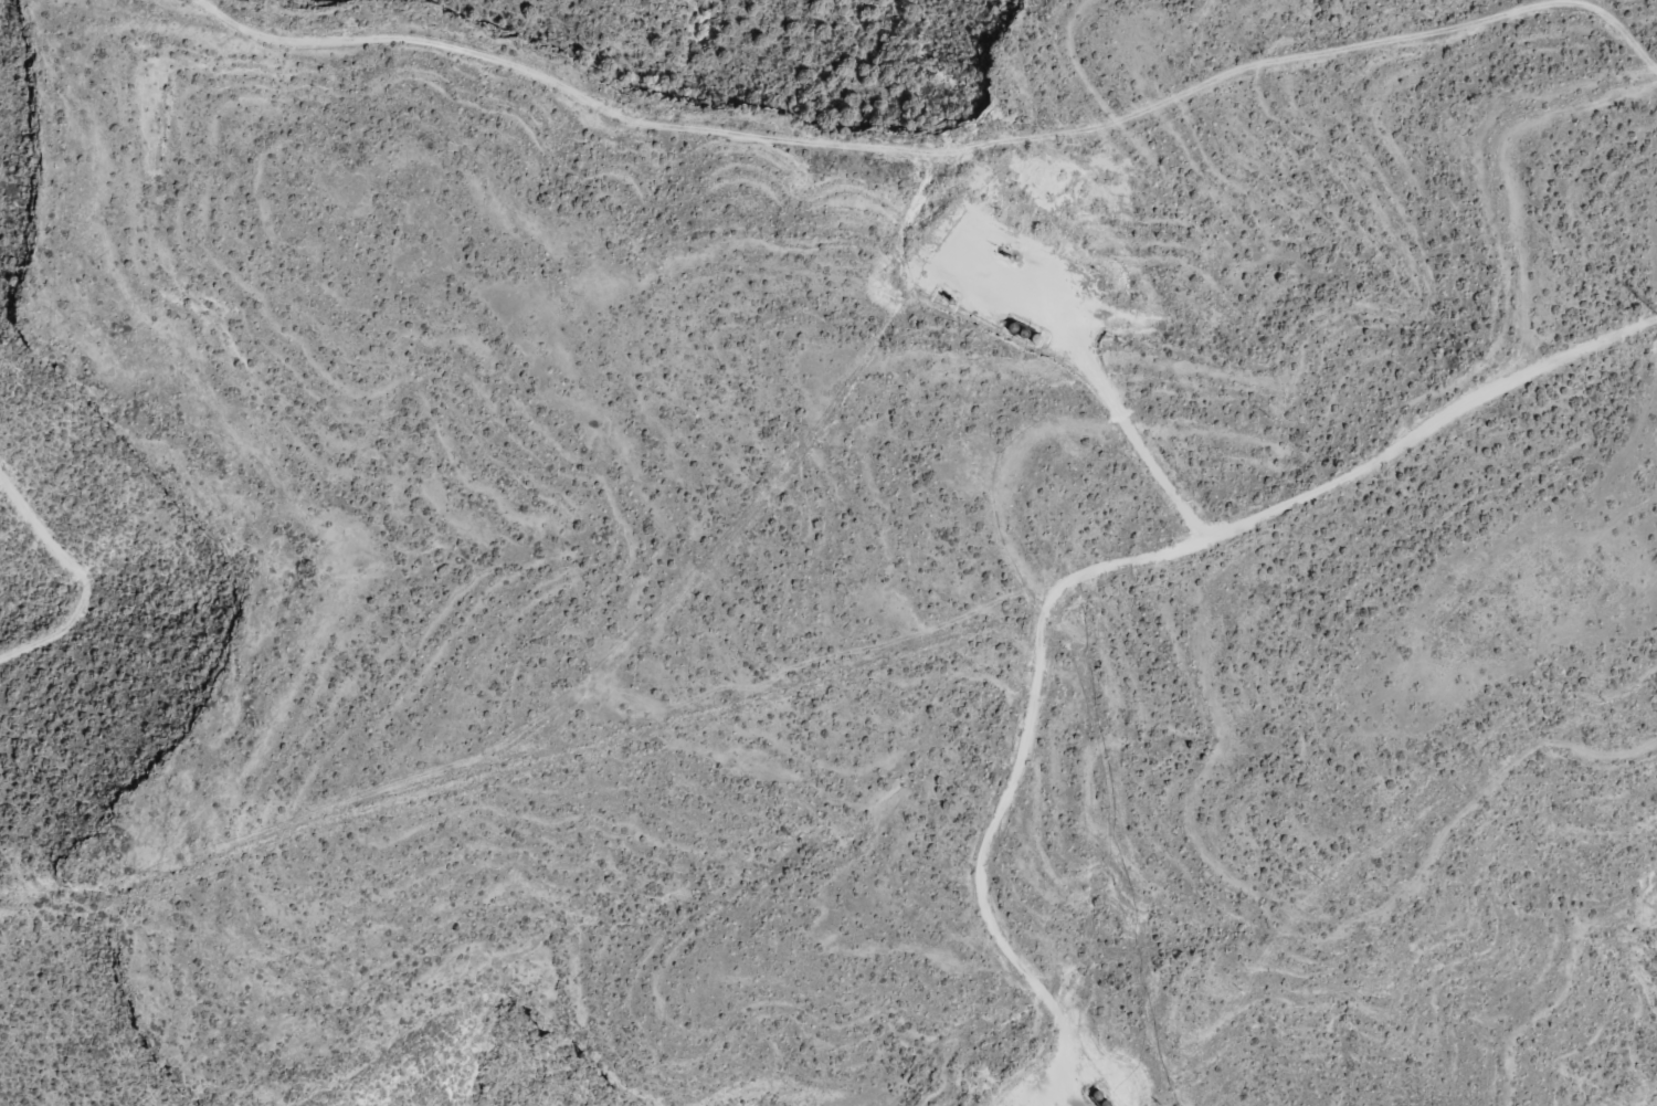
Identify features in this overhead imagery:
road: (900, 196)
road: (65, 596)

